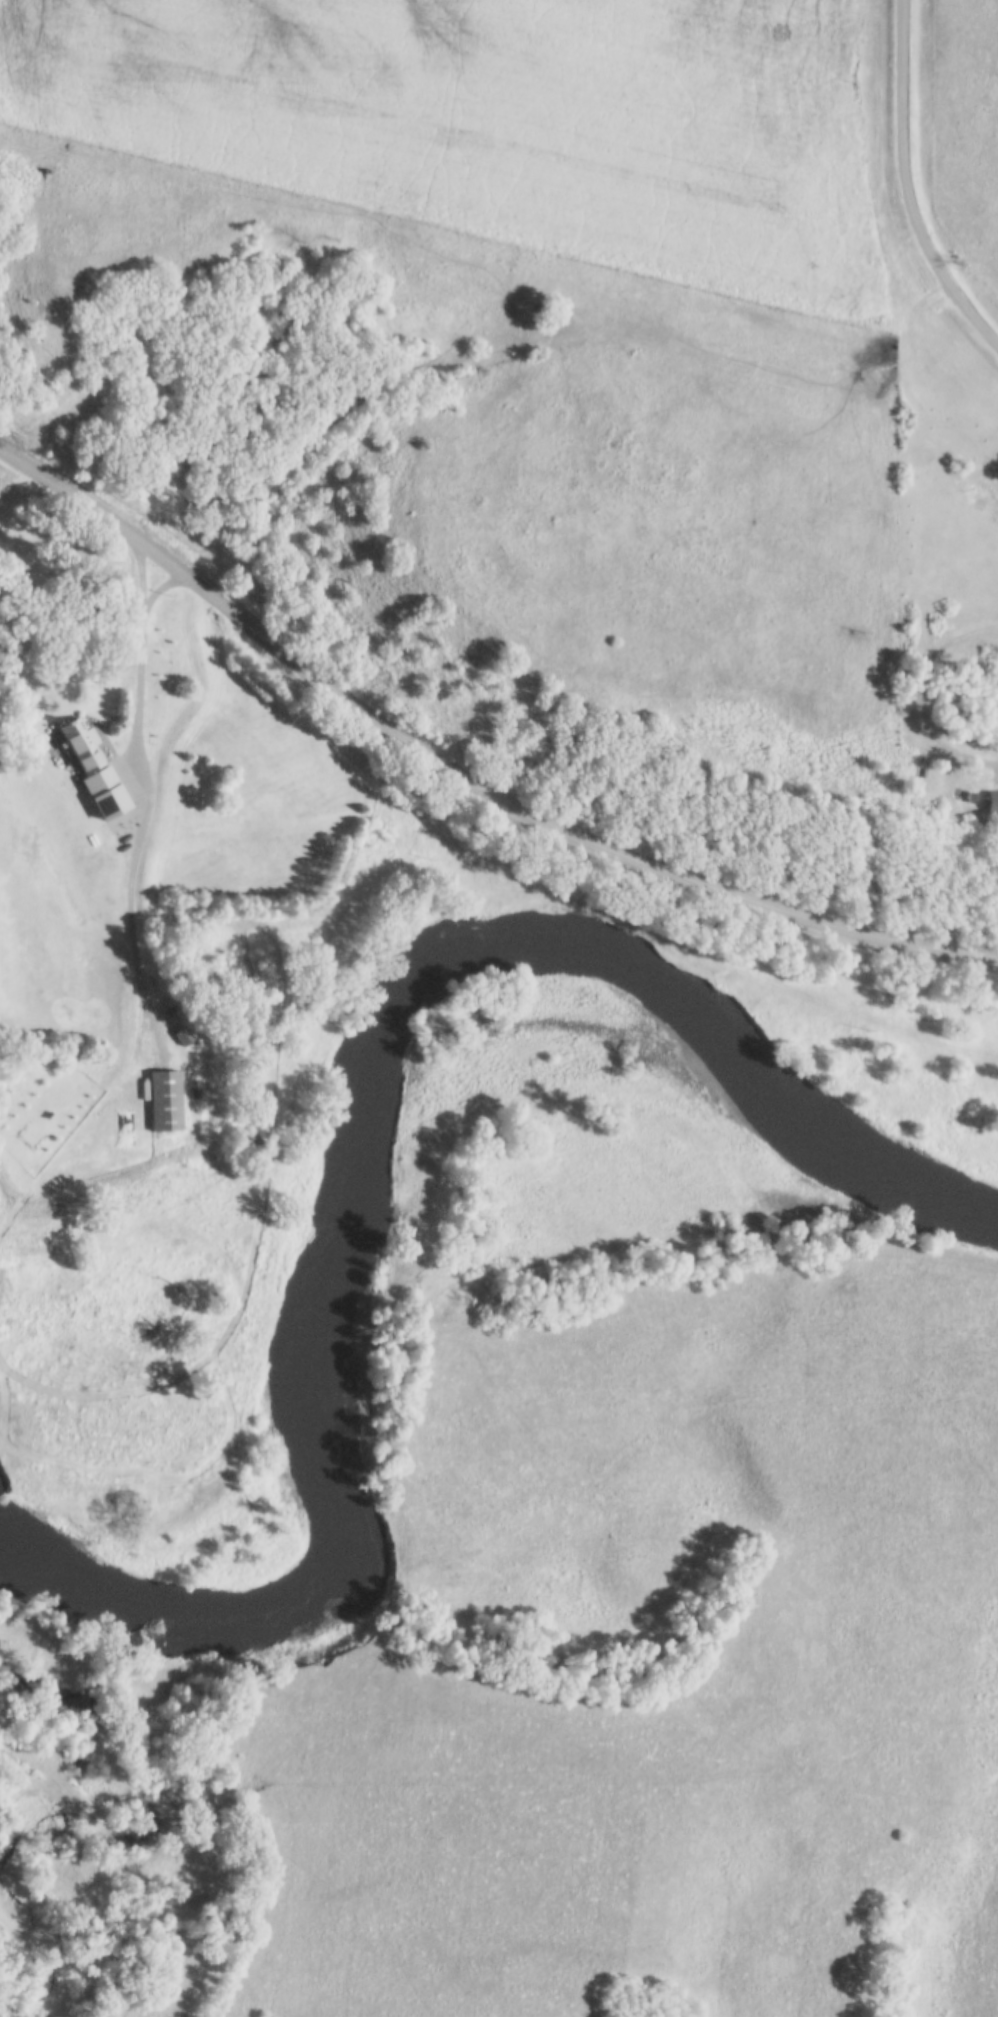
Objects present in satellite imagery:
road: (905, 186)
road: (918, 693)
building: (95, 768)
road: (461, 773)
building: (992, 801)
road: (136, 807)
building: (165, 1100)
river: (348, 1112)
road: (70, 1146)

